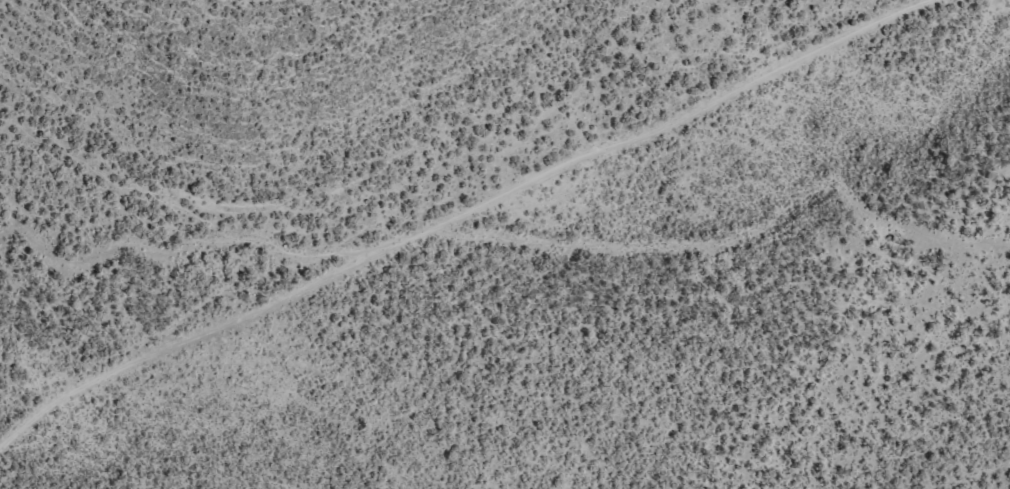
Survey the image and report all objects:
road: (478, 216)

